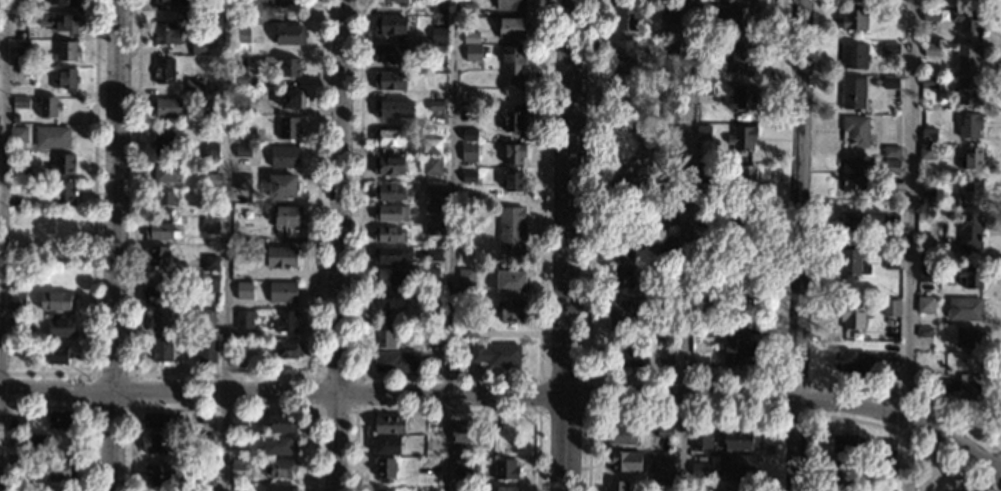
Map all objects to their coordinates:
building: (170, 1)
building: (63, 2)
building: (400, 2)
building: (510, 4)
building: (34, 5)
building: (242, 6)
building: (438, 6)
building: (465, 8)
building: (214, 10)
building: (669, 10)
building: (706, 11)
building: (627, 14)
building: (931, 15)
road: (784, 17)
building: (18, 18)
building: (742, 18)
building: (854, 18)
building: (968, 20)
building: (241, 21)
building: (434, 21)
building: (58, 22)
building: (390, 25)
building: (512, 28)
building: (167, 34)
building: (289, 34)
building: (438, 34)
building: (242, 35)
road: (800, 35)
road: (817, 36)
building: (471, 38)
building: (705, 44)
building: (199, 46)
building: (670, 46)
building: (891, 48)
building: (931, 49)
building: (411, 50)
building: (624, 50)
building: (66, 51)
building: (740, 51)
building: (472, 52)
building: (390, 53)
building: (854, 56)
building: (968, 57)
building: (21, 61)
building: (514, 61)
building: (290, 67)
building: (164, 70)
building: (697, 76)
building: (65, 78)
building: (241, 79)
building: (390, 80)
building: (890, 82)
building: (929, 82)
building: (667, 84)
building: (624, 85)
building: (194, 87)
building: (705, 87)
building: (968, 91)
building: (853, 93)
building: (901, 93)
building: (433, 96)
building: (742, 96)
building: (293, 99)
building: (20, 102)
building: (240, 104)
building: (47, 106)
building: (436, 106)
building: (168, 108)
building: (393, 108)
building: (669, 113)
building: (200, 116)
building: (627, 119)
building: (514, 120)
building: (969, 124)
building: (289, 128)
building: (248, 129)
building: (855, 130)
building: (703, 133)
building: (18, 134)
building: (469, 134)
building: (929, 135)
building: (52, 137)
building: (389, 137)
building: (742, 138)
building: (164, 140)
building: (254, 142)
building: (669, 145)
building: (431, 146)
building: (210, 150)
building: (243, 151)
building: (892, 151)
building: (928, 151)
building: (468, 153)
building: (515, 153)
building: (626, 154)
building: (284, 156)
building: (972, 158)
building: (62, 164)
building: (390, 165)
building: (432, 165)
building: (891, 167)
building: (703, 169)
building: (17, 170)
building: (167, 172)
building: (854, 174)
building: (469, 176)
building: (746, 177)
building: (211, 180)
building: (514, 181)
building: (242, 182)
building: (669, 185)
building: (19, 186)
building: (283, 186)
building: (624, 187)
building: (927, 187)
building: (432, 189)
building: (63, 192)
building: (389, 192)
building: (971, 194)
building: (165, 198)
building: (674, 201)
building: (204, 210)
road: (1, 212)
building: (390, 213)
building: (431, 213)
building: (38, 216)
building: (287, 216)
building: (631, 217)
building: (668, 217)
building: (703, 217)
building: (743, 217)
building: (891, 218)
building: (19, 219)
building: (59, 219)
building: (853, 223)
building: (209, 225)
road: (94, 231)
building: (160, 231)
building: (268, 231)
building: (432, 231)
building: (511, 231)
building: (970, 233)
building: (389, 234)
building: (667, 242)
road: (116, 245)
road: (339, 245)
road: (567, 245)
road: (685, 245)
road: (795, 245)
road: (910, 245)
building: (623, 246)
building: (890, 247)
building: (433, 253)
road: (449, 254)
building: (159, 255)
building: (392, 255)
building: (926, 255)
building: (273, 256)
building: (891, 259)
building: (853, 262)
building: (210, 263)
building: (14, 269)
building: (667, 272)
building: (432, 273)
building: (925, 273)
building: (387, 276)
building: (622, 276)
building: (466, 277)
building: (971, 277)
building: (511, 280)
building: (210, 283)
building: (745, 286)
building: (244, 290)
building: (282, 292)
building: (158, 294)
building: (388, 298)
building: (17, 299)
building: (56, 300)
road: (226, 304)
building: (925, 304)
building: (663, 306)
building: (891, 307)
building: (964, 309)
building: (512, 312)
building: (622, 315)
building: (853, 315)
building: (205, 317)
building: (244, 319)
building: (428, 319)
building: (161, 320)
building: (285, 321)
building: (17, 325)
building: (61, 327)
building: (712, 328)
building: (469, 329)
building: (925, 332)
building: (432, 336)
building: (386, 337)
building: (967, 338)
building: (737, 346)
building: (19, 349)
building: (288, 349)
building: (162, 350)
building: (207, 351)
building: (57, 354)
building: (497, 354)
building: (665, 355)
building: (627, 356)
building: (395, 362)
building: (856, 362)
road: (225, 372)
road: (450, 375)
road: (590, 377)
road: (615, 378)
building: (960, 390)
road: (509, 394)
road: (87, 406)
road: (130, 407)
road: (221, 408)
road: (355, 409)
road: (447, 411)
road: (762, 416)
building: (205, 418)
building: (61, 419)
building: (156, 420)
building: (239, 422)
building: (281, 423)
building: (17, 424)
building: (388, 424)
building: (665, 432)
building: (470, 434)
building: (622, 434)
building: (205, 439)
building: (741, 439)
building: (36, 440)
building: (701, 440)
building: (237, 441)
building: (13, 442)
building: (157, 443)
building: (846, 443)
building: (277, 445)
building: (387, 445)
building: (887, 447)
building: (472, 454)
building: (19, 461)
building: (625, 461)
building: (423, 462)
building: (887, 463)
building: (238, 464)
building: (737, 465)
building: (465, 466)
building: (281, 468)
building: (664, 468)
building: (60, 469)
building: (384, 469)
building: (507, 469)
building: (699, 470)
building: (200, 472)
building: (841, 472)
building: (159, 475)
building: (617, 485)
building: (663, 485)
building: (280, 487)
building: (737, 487)
building: (505, 488)
building: (385, 490)

